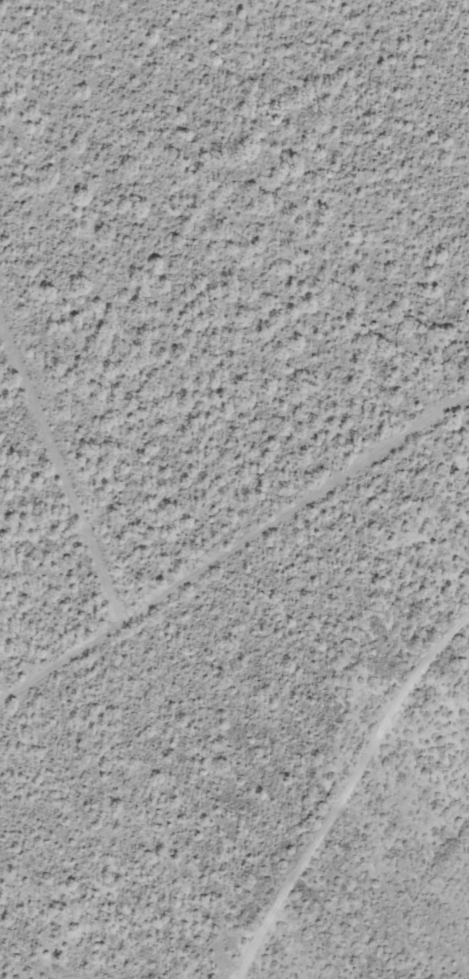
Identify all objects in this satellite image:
road: (349, 793)

